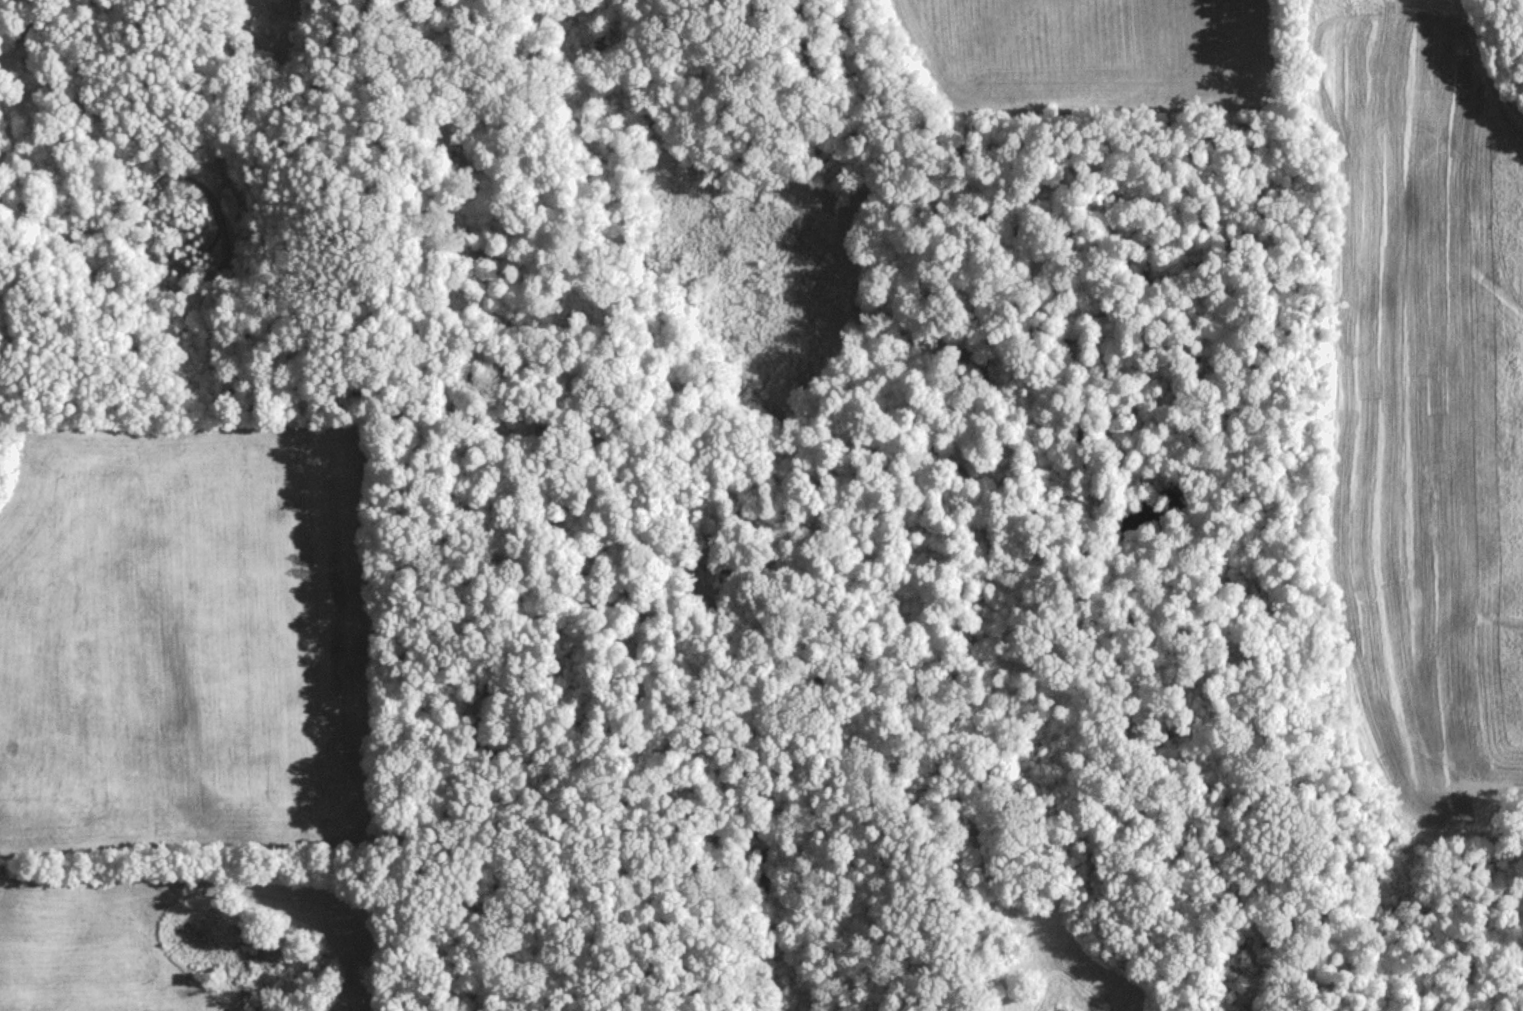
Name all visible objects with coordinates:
road: (174, 792)

